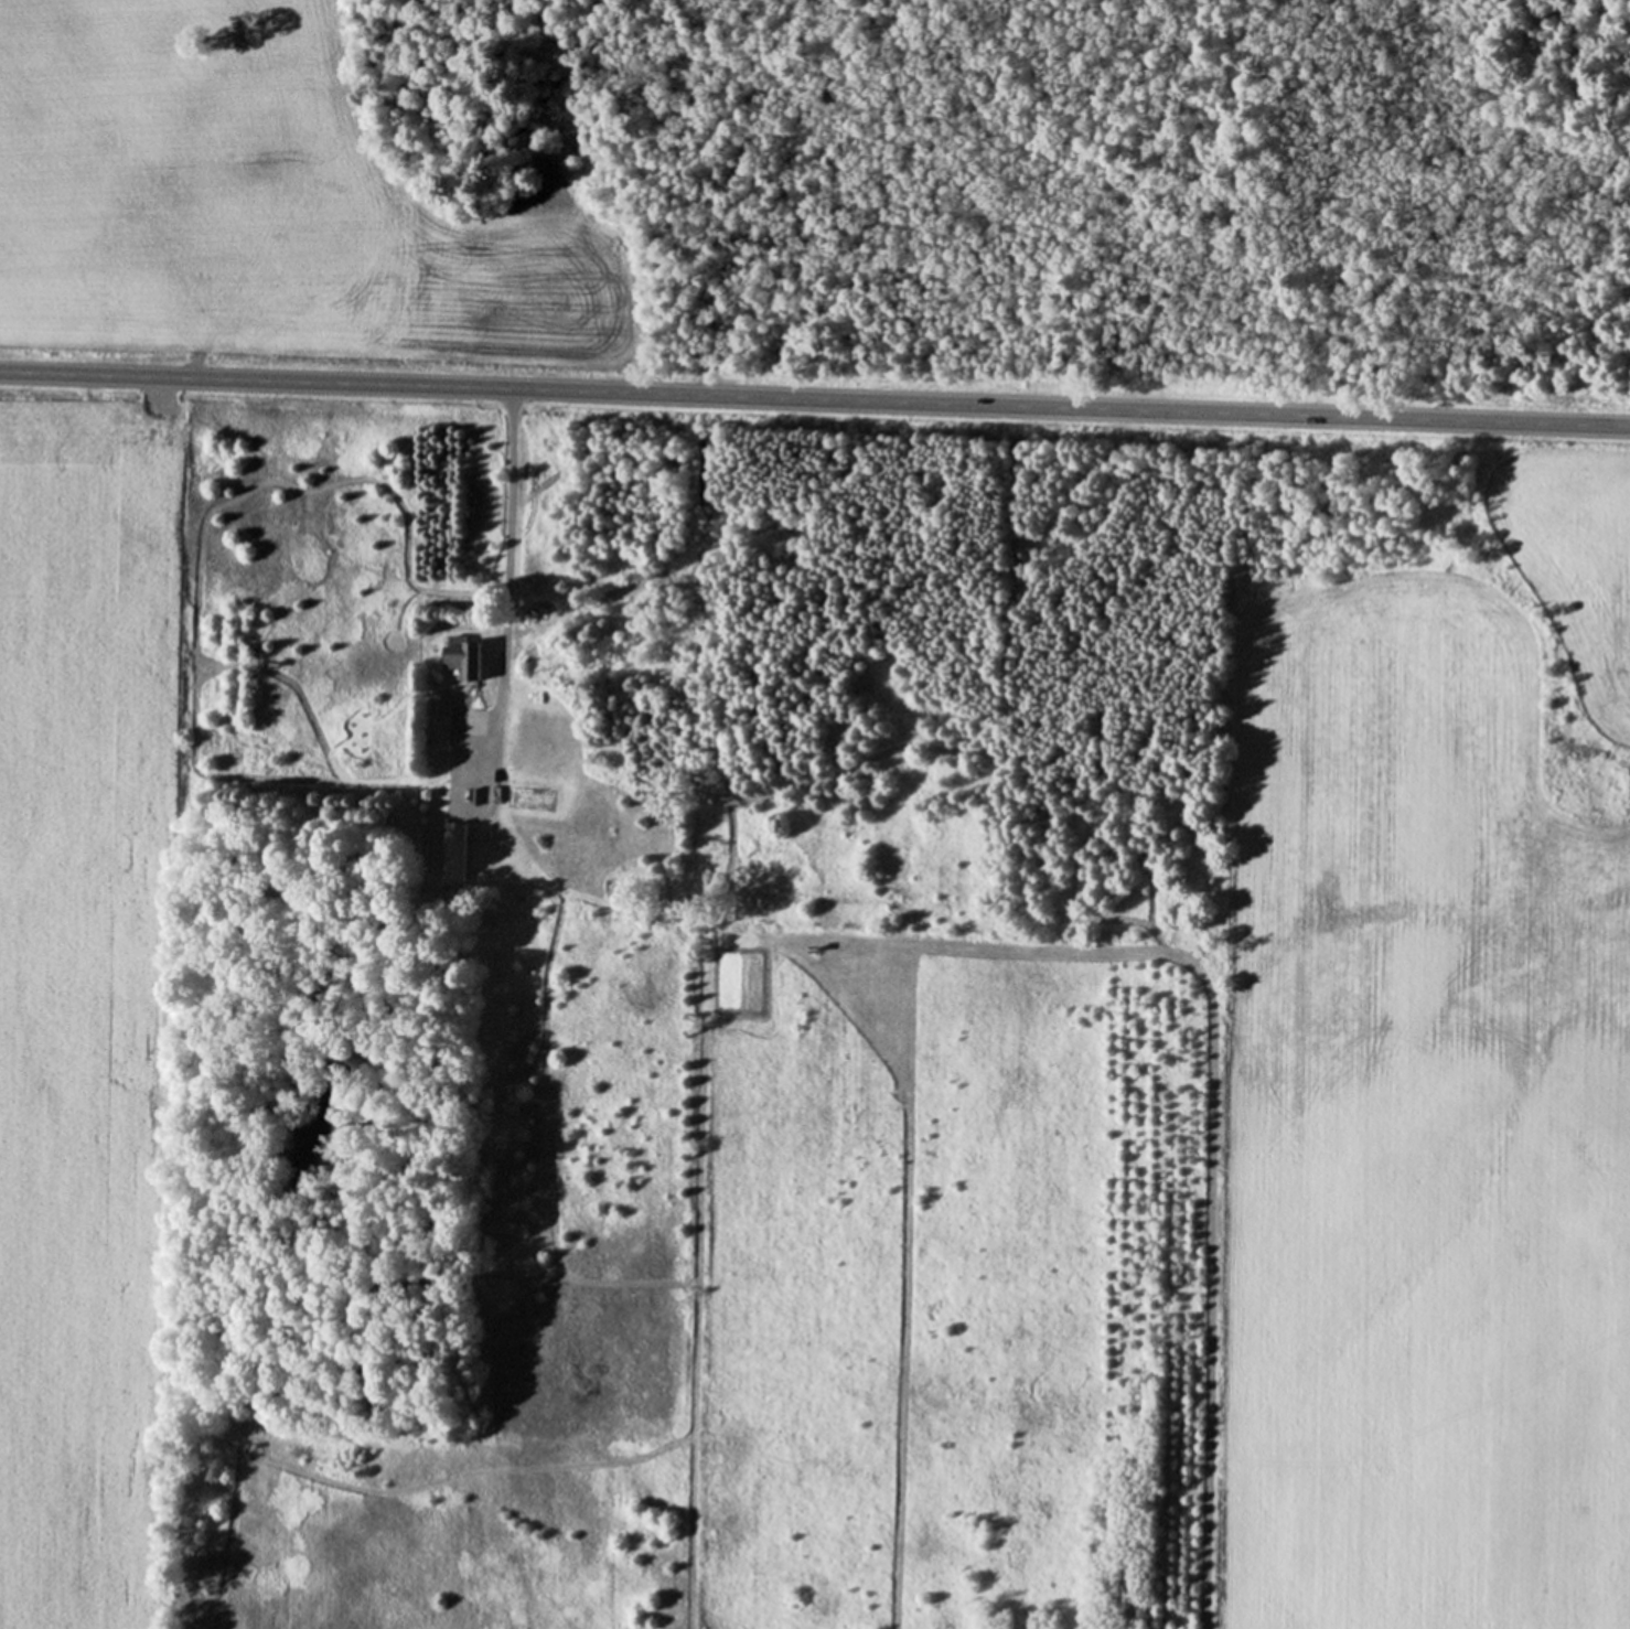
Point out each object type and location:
road: (814, 397)
road: (508, 554)
building: (455, 655)

